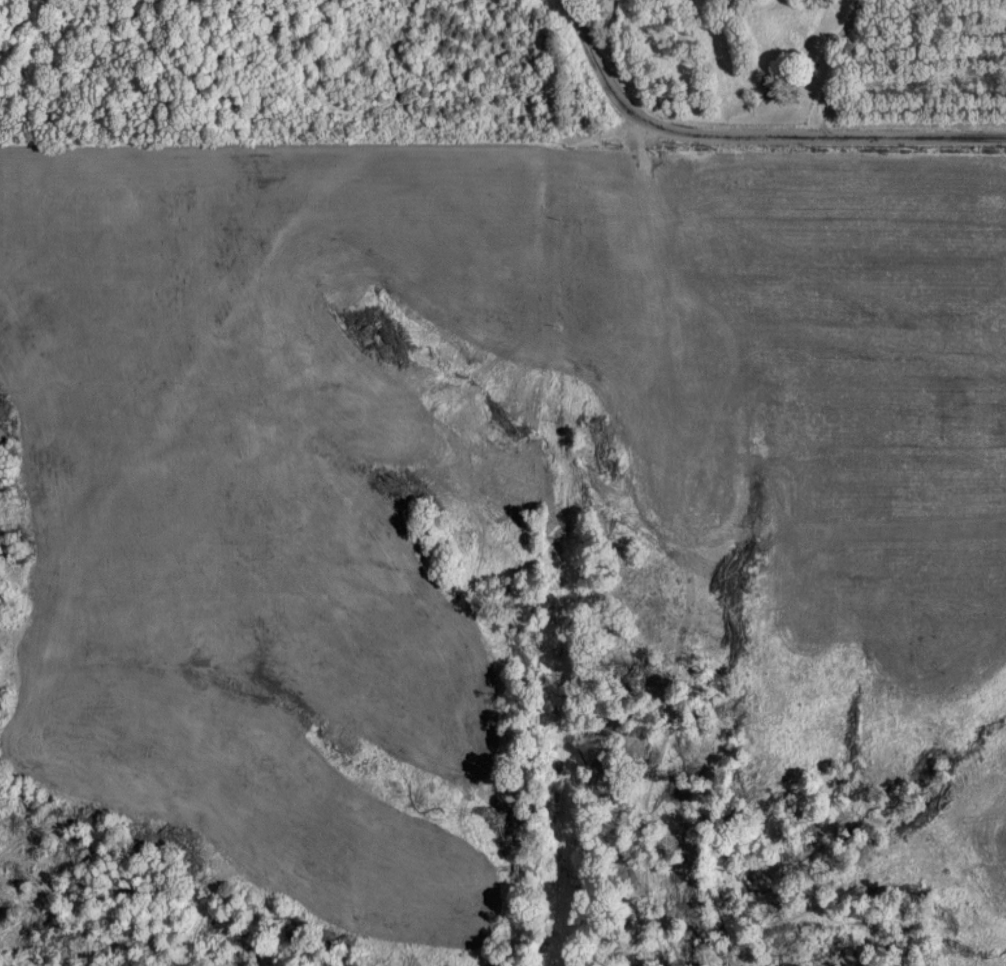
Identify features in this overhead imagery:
road: (600, 60)
road: (817, 135)

